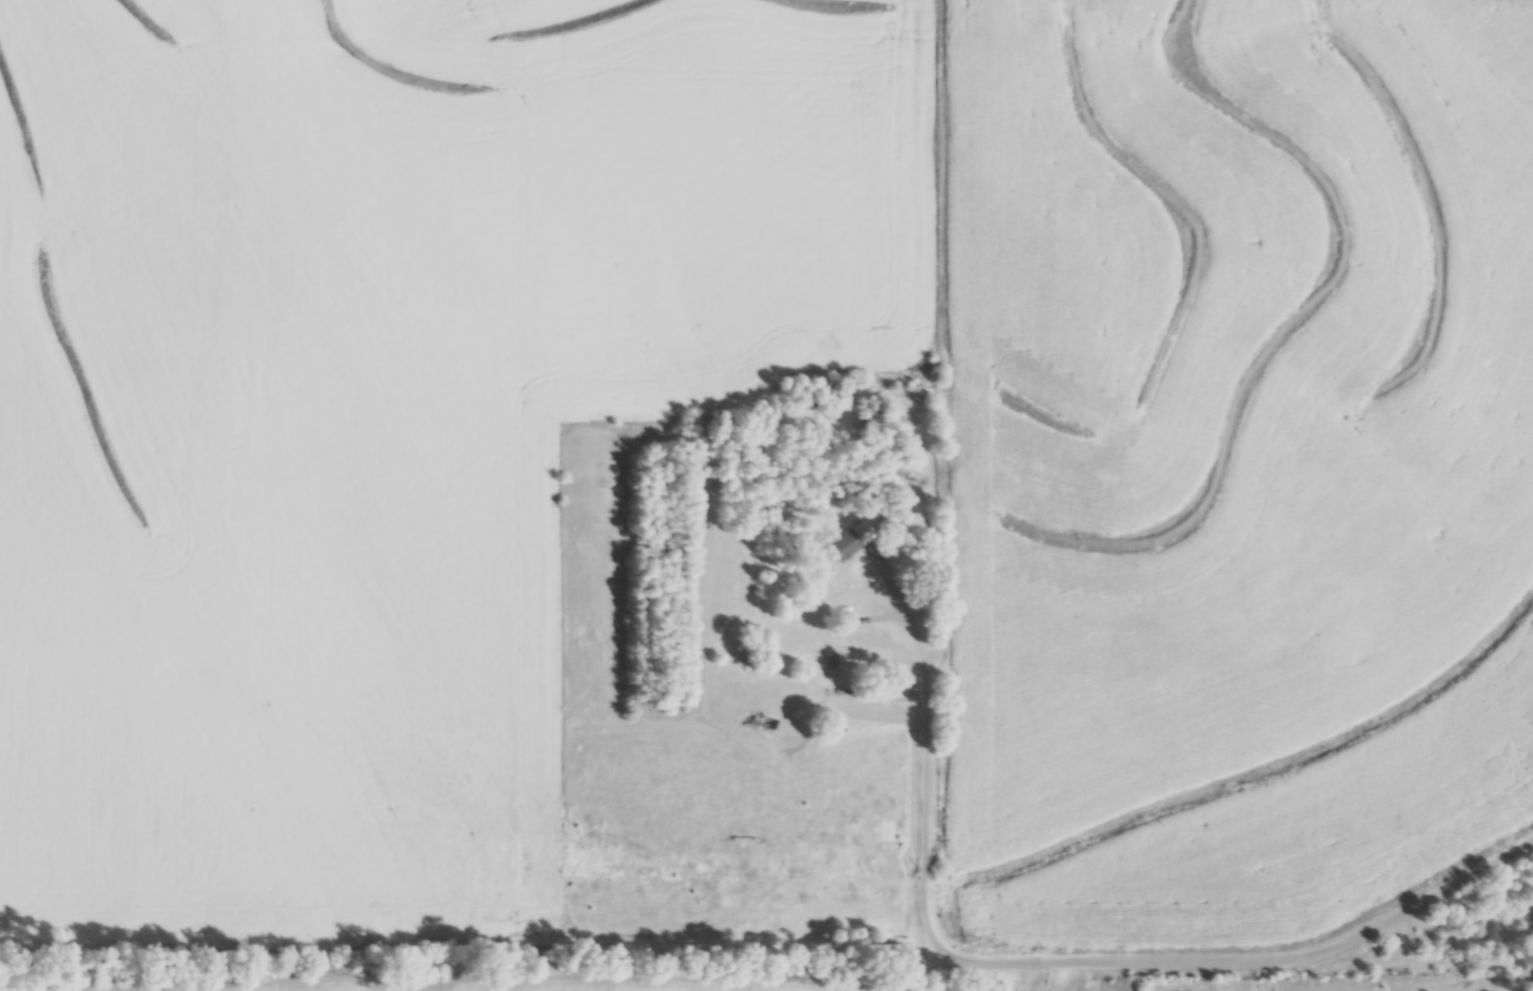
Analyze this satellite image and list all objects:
road: (1126, 956)

